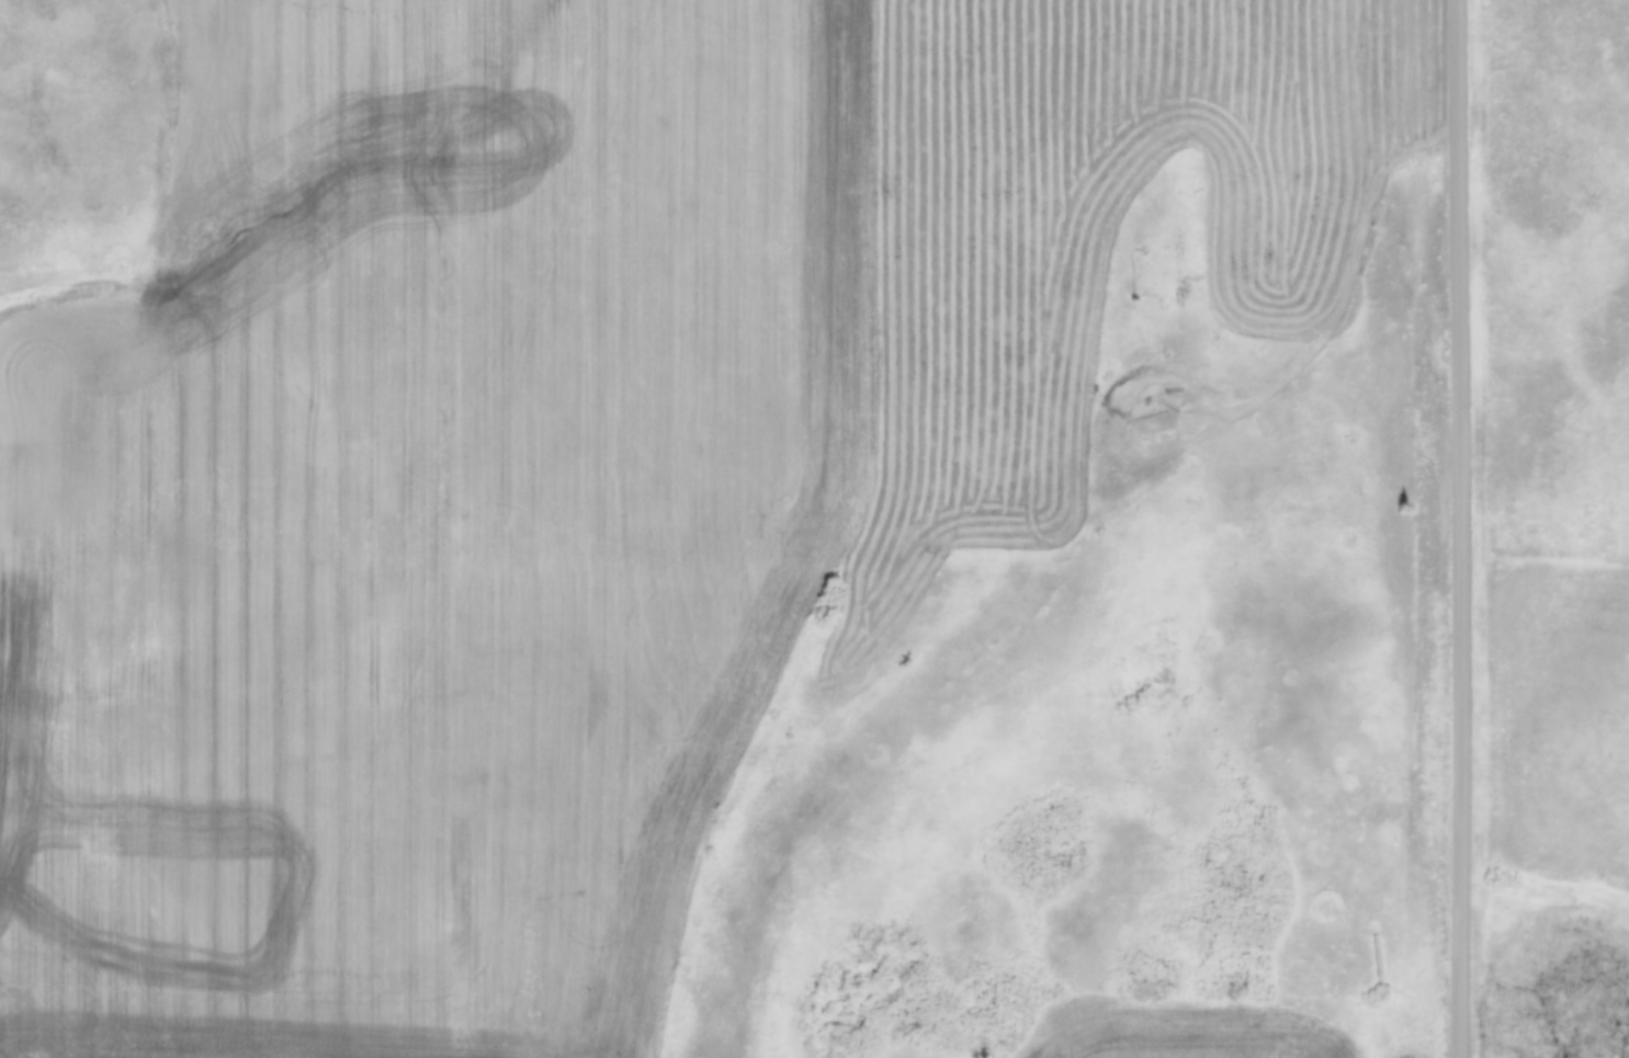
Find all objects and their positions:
road: (1461, 528)

